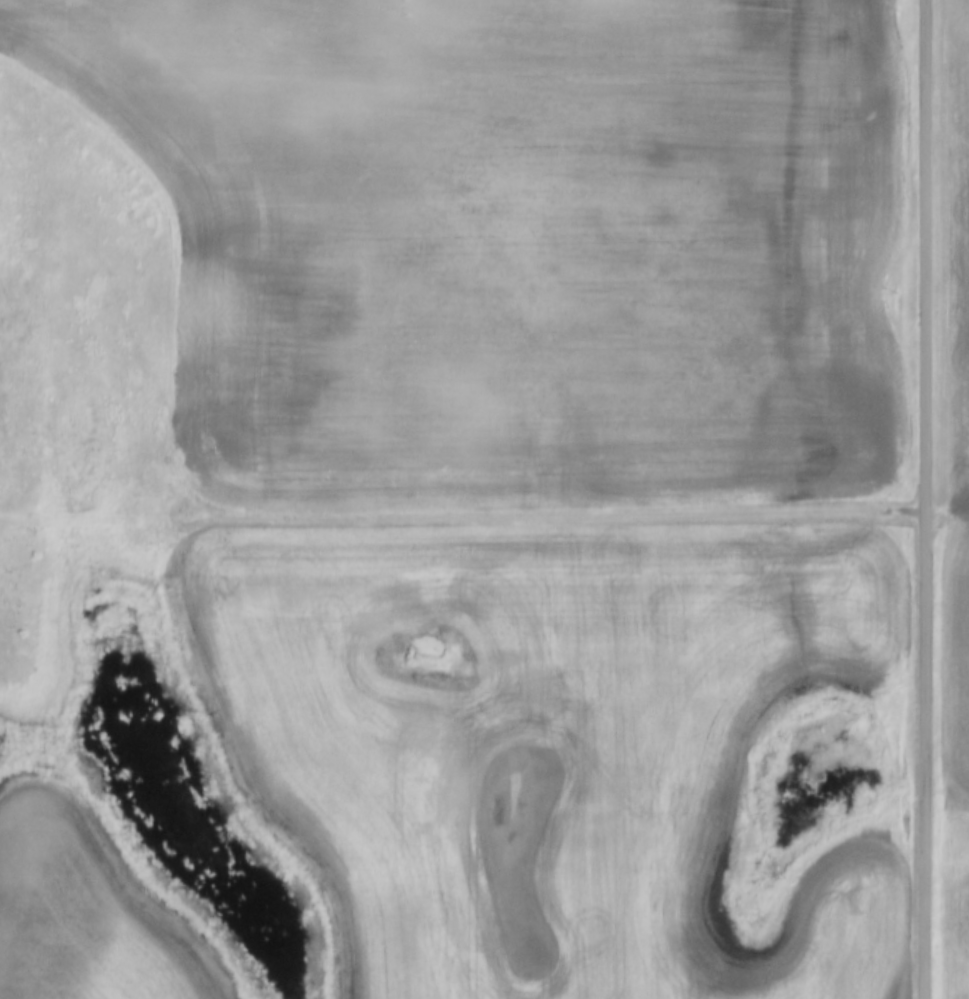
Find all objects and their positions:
road: (933, 499)
road: (466, 529)

